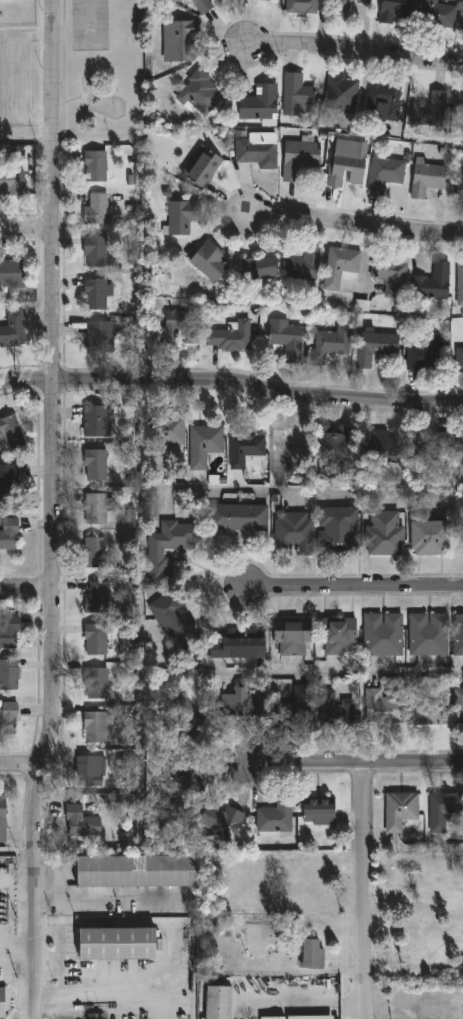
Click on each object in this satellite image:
building: (5, 1)
building: (202, 6)
building: (300, 6)
building: (345, 7)
building: (395, 10)
building: (437, 14)
road: (89, 23)
parking lot: (89, 25)
building: (181, 40)
road: (354, 53)
park: (76, 70)
road: (11, 77)
parking lot: (15, 78)
building: (198, 94)
building: (297, 94)
building: (340, 94)
building: (382, 101)
building: (259, 104)
building: (429, 110)
building: (459, 113)
building: (257, 149)
building: (299, 158)
building: (94, 166)
building: (345, 167)
building: (203, 168)
building: (384, 174)
building: (12, 177)
building: (426, 179)
building: (459, 191)
building: (95, 210)
building: (182, 217)
road: (354, 227)
road: (26, 232)
building: (94, 252)
building: (209, 262)
building: (303, 265)
building: (264, 268)
building: (341, 270)
building: (11, 275)
building: (388, 275)
building: (433, 284)
building: (460, 284)
building: (95, 294)
building: (179, 328)
building: (12, 331)
building: (228, 335)
building: (98, 337)
building: (286, 338)
building: (330, 345)
building: (375, 347)
building: (424, 355)
building: (459, 360)
road: (231, 386)
building: (95, 421)
building: (167, 432)
building: (9, 433)
building: (333, 439)
building: (459, 443)
building: (204, 445)
building: (383, 445)
building: (283, 446)
building: (428, 448)
building: (244, 449)
building: (95, 466)
building: (8, 484)
building: (97, 508)
road: (53, 510)
building: (236, 518)
building: (337, 530)
building: (385, 533)
building: (293, 534)
building: (8, 535)
building: (430, 538)
building: (169, 547)
building: (93, 553)
road: (26, 587)
road: (354, 591)
building: (95, 599)
building: (174, 621)
building: (8, 632)
building: (382, 634)
building: (427, 634)
building: (457, 634)
building: (336, 636)
building: (291, 638)
building: (95, 640)
building: (236, 646)
road: (312, 672)
building: (8, 675)
building: (95, 685)
building: (241, 702)
building: (382, 707)
building: (458, 707)
building: (425, 709)
building: (297, 710)
building: (335, 710)
building: (8, 720)
building: (187, 722)
building: (94, 727)
road: (20, 762)
road: (355, 765)
building: (89, 771)
building: (183, 779)
building: (398, 810)
building: (318, 811)
building: (445, 812)
building: (274, 816)
building: (2, 820)
building: (220, 820)
building: (80, 822)
building: (135, 871)
road: (363, 892)
building: (116, 944)
building: (310, 954)
building: (216, 1002)
building: (2, 1003)
road: (304, 1004)
building: (311, 1017)
building: (93, 1018)
building: (271, 1018)

